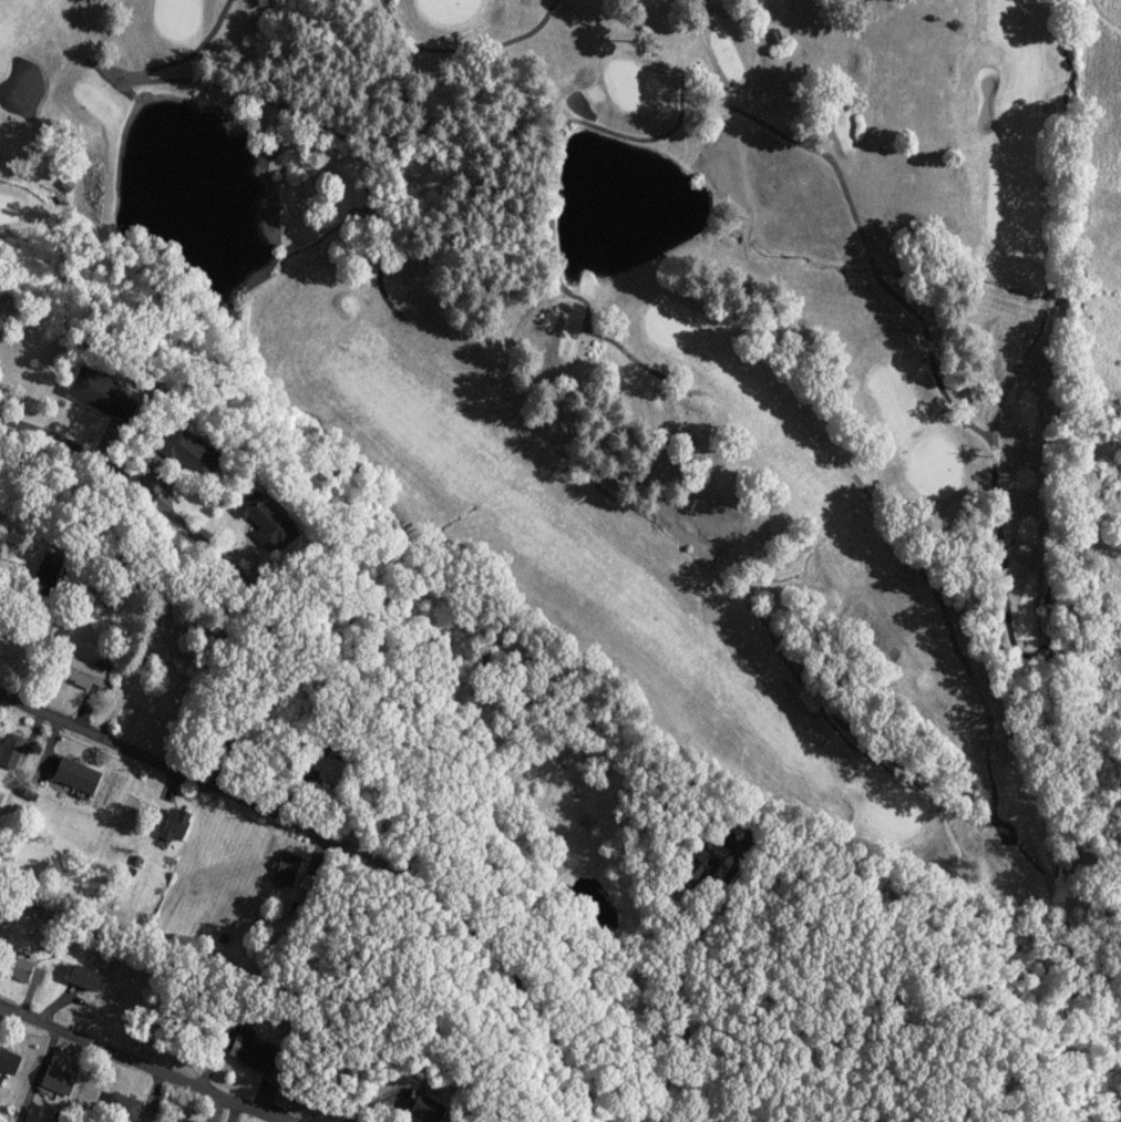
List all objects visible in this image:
park: (649, 346)
building: (97, 392)
building: (185, 450)
building: (261, 519)
road: (213, 554)
building: (43, 570)
building: (82, 672)
building: (9, 750)
building: (322, 771)
building: (74, 774)
building: (174, 824)
road: (350, 842)
building: (697, 865)
building: (285, 868)
building: (306, 882)
building: (14, 966)
building: (82, 977)
road: (673, 978)
building: (248, 1053)
building: (8, 1060)
road: (147, 1064)
building: (55, 1080)
building: (117, 1109)
building: (421, 1110)
building: (185, 1121)

